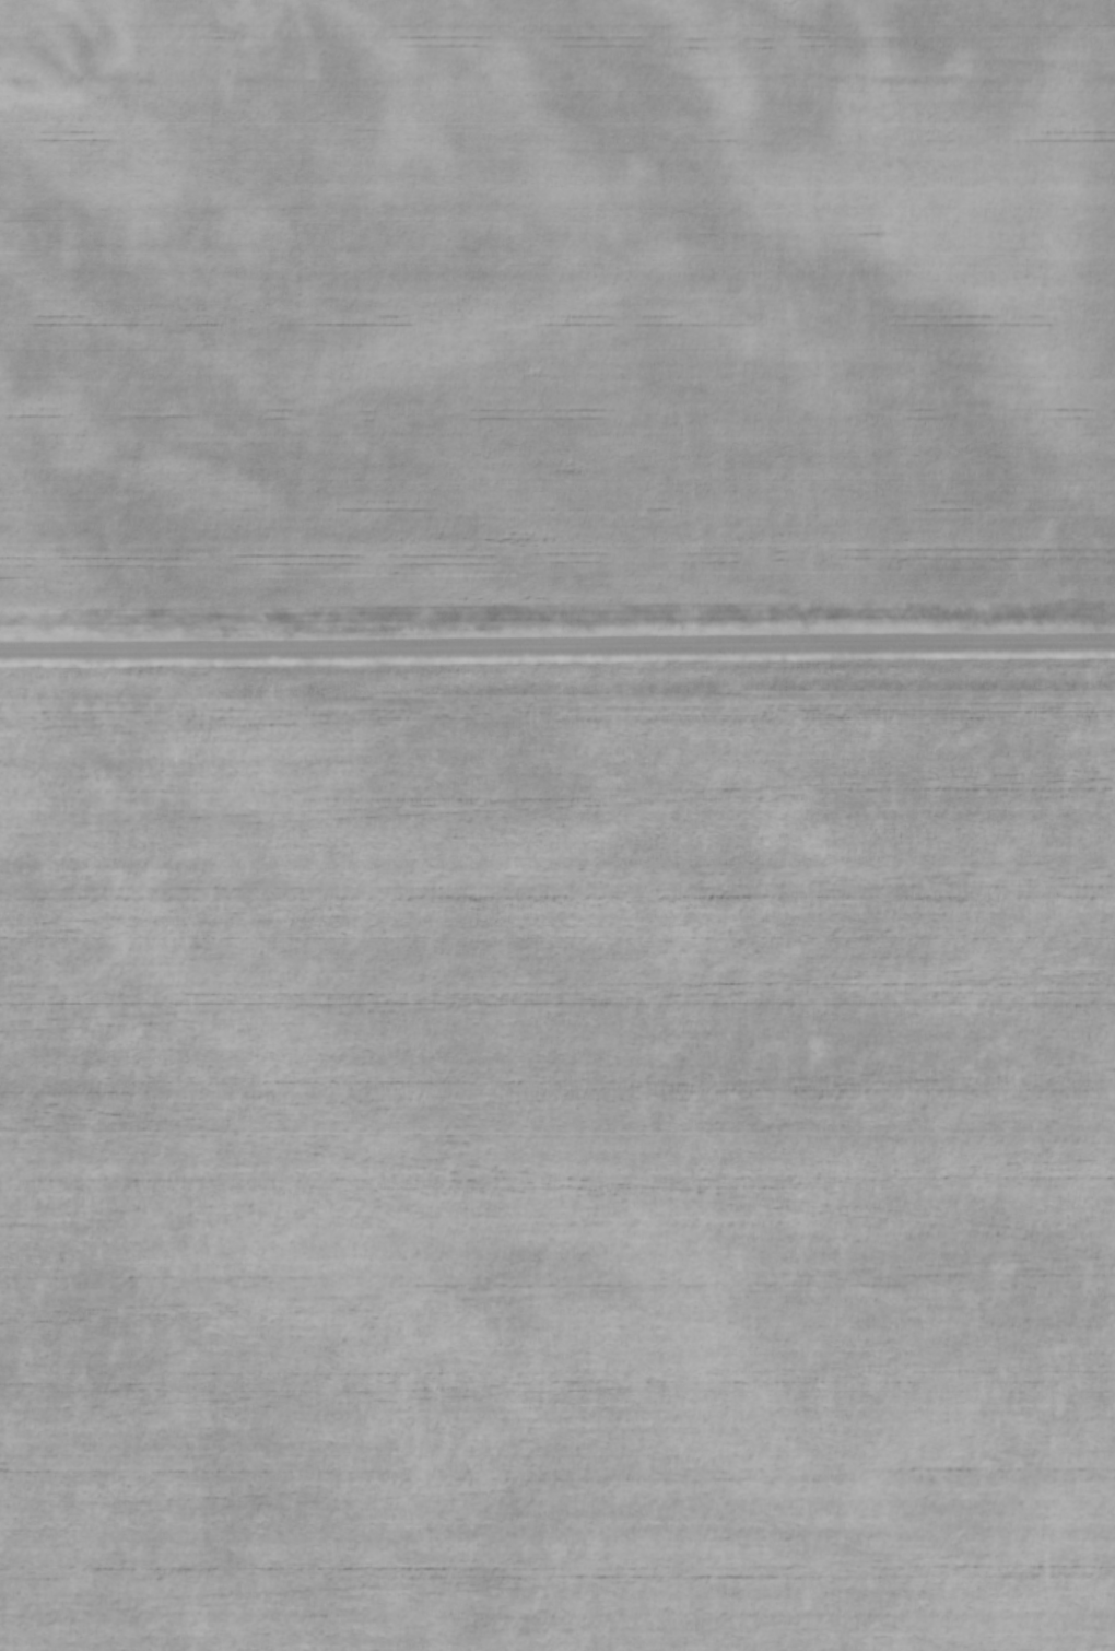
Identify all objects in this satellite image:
road: (557, 648)

